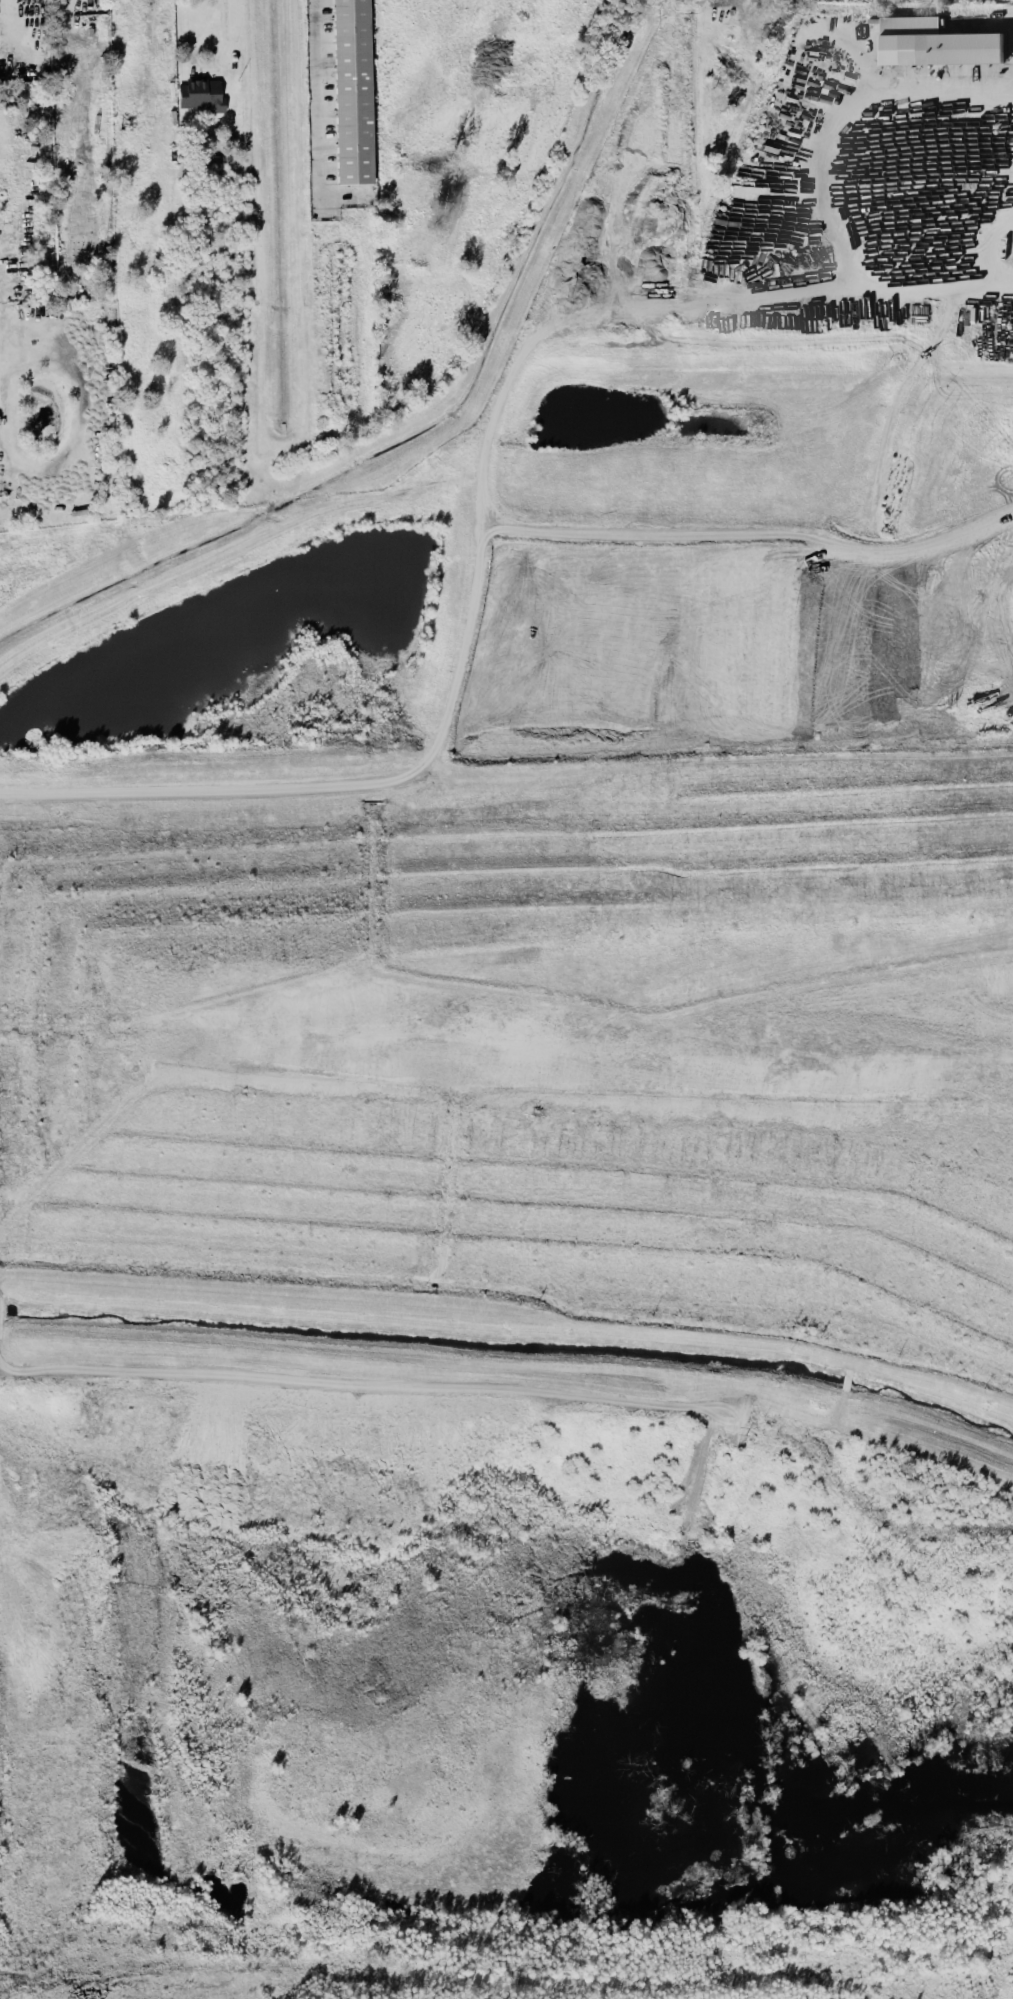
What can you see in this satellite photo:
road: (5, 17)
building: (935, 42)
road: (230, 44)
road: (314, 85)
building: (353, 91)
building: (202, 94)
road: (816, 169)
landfill: (526, 1049)

